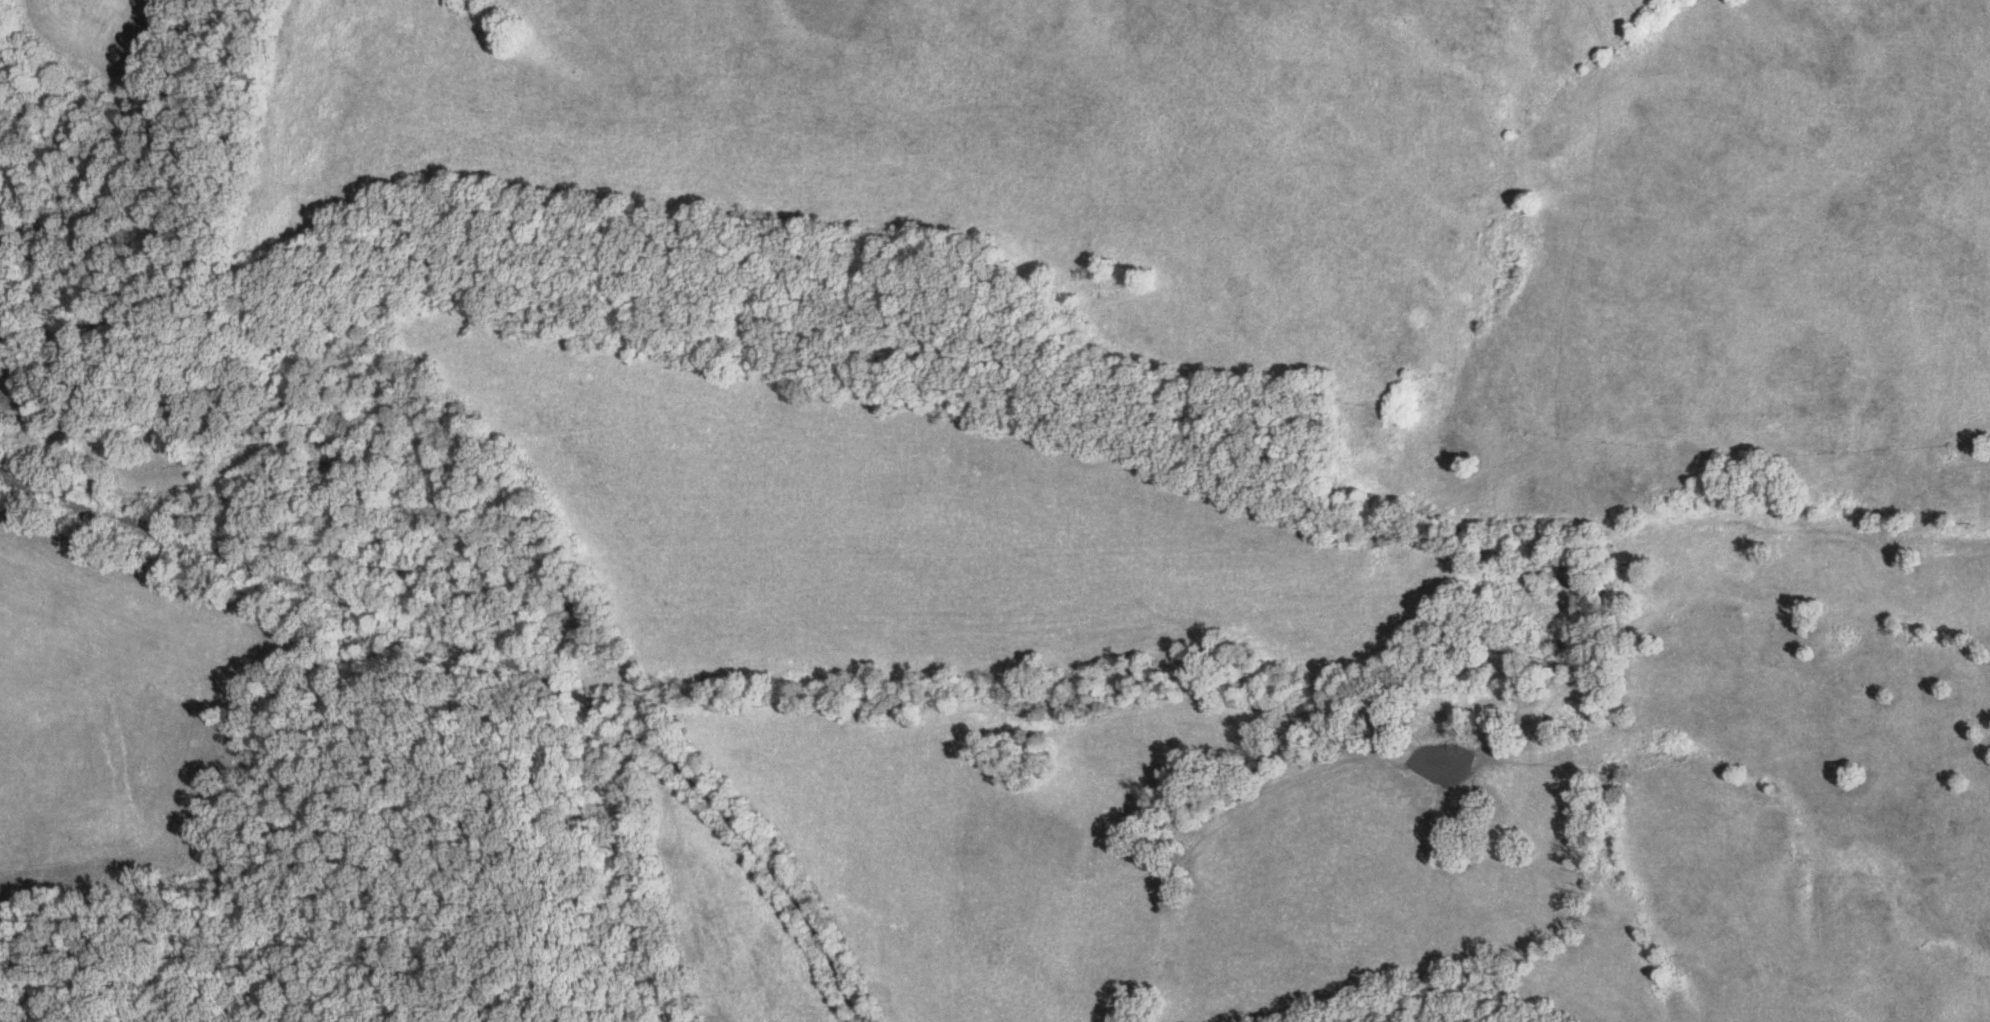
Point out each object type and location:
road: (5, 204)
road: (351, 439)
railway: (494, 659)

